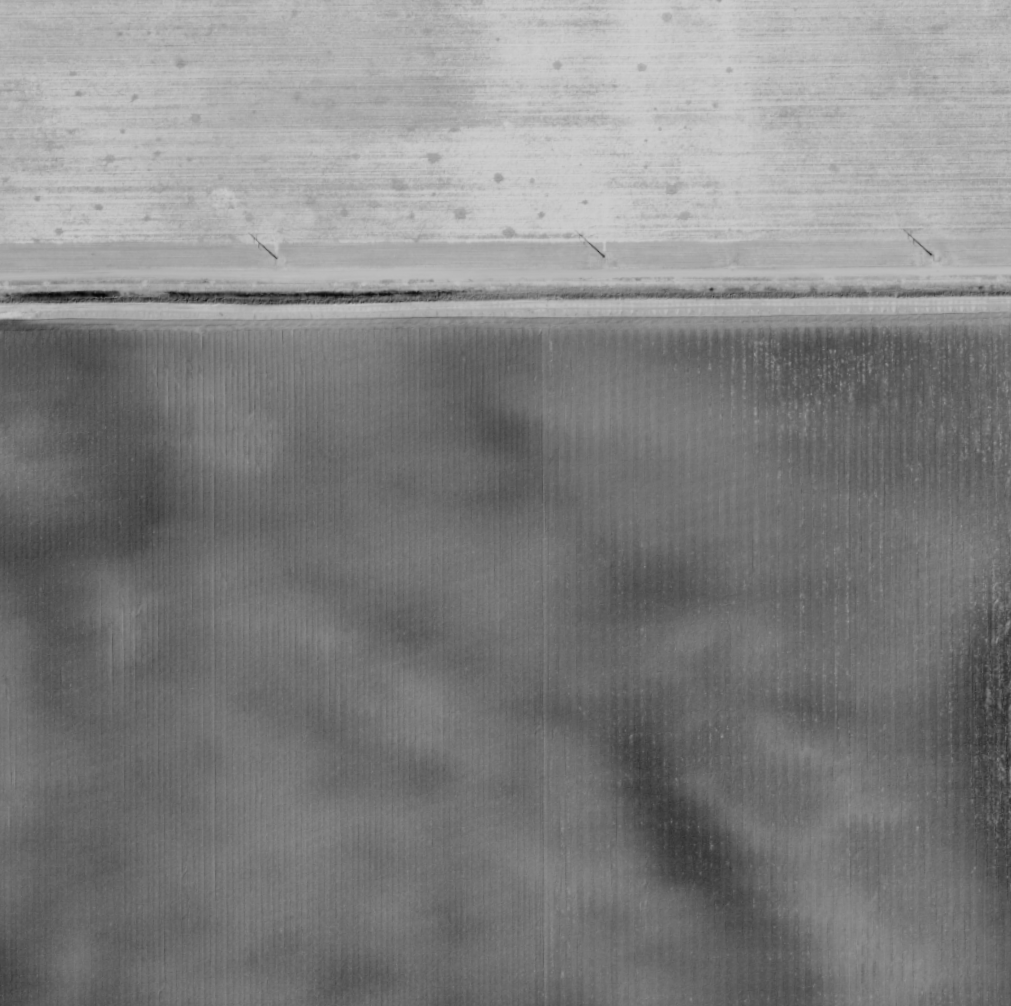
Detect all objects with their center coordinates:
power tower: (937, 261)
power tower: (610, 264)
power tower: (281, 266)
road: (505, 276)

